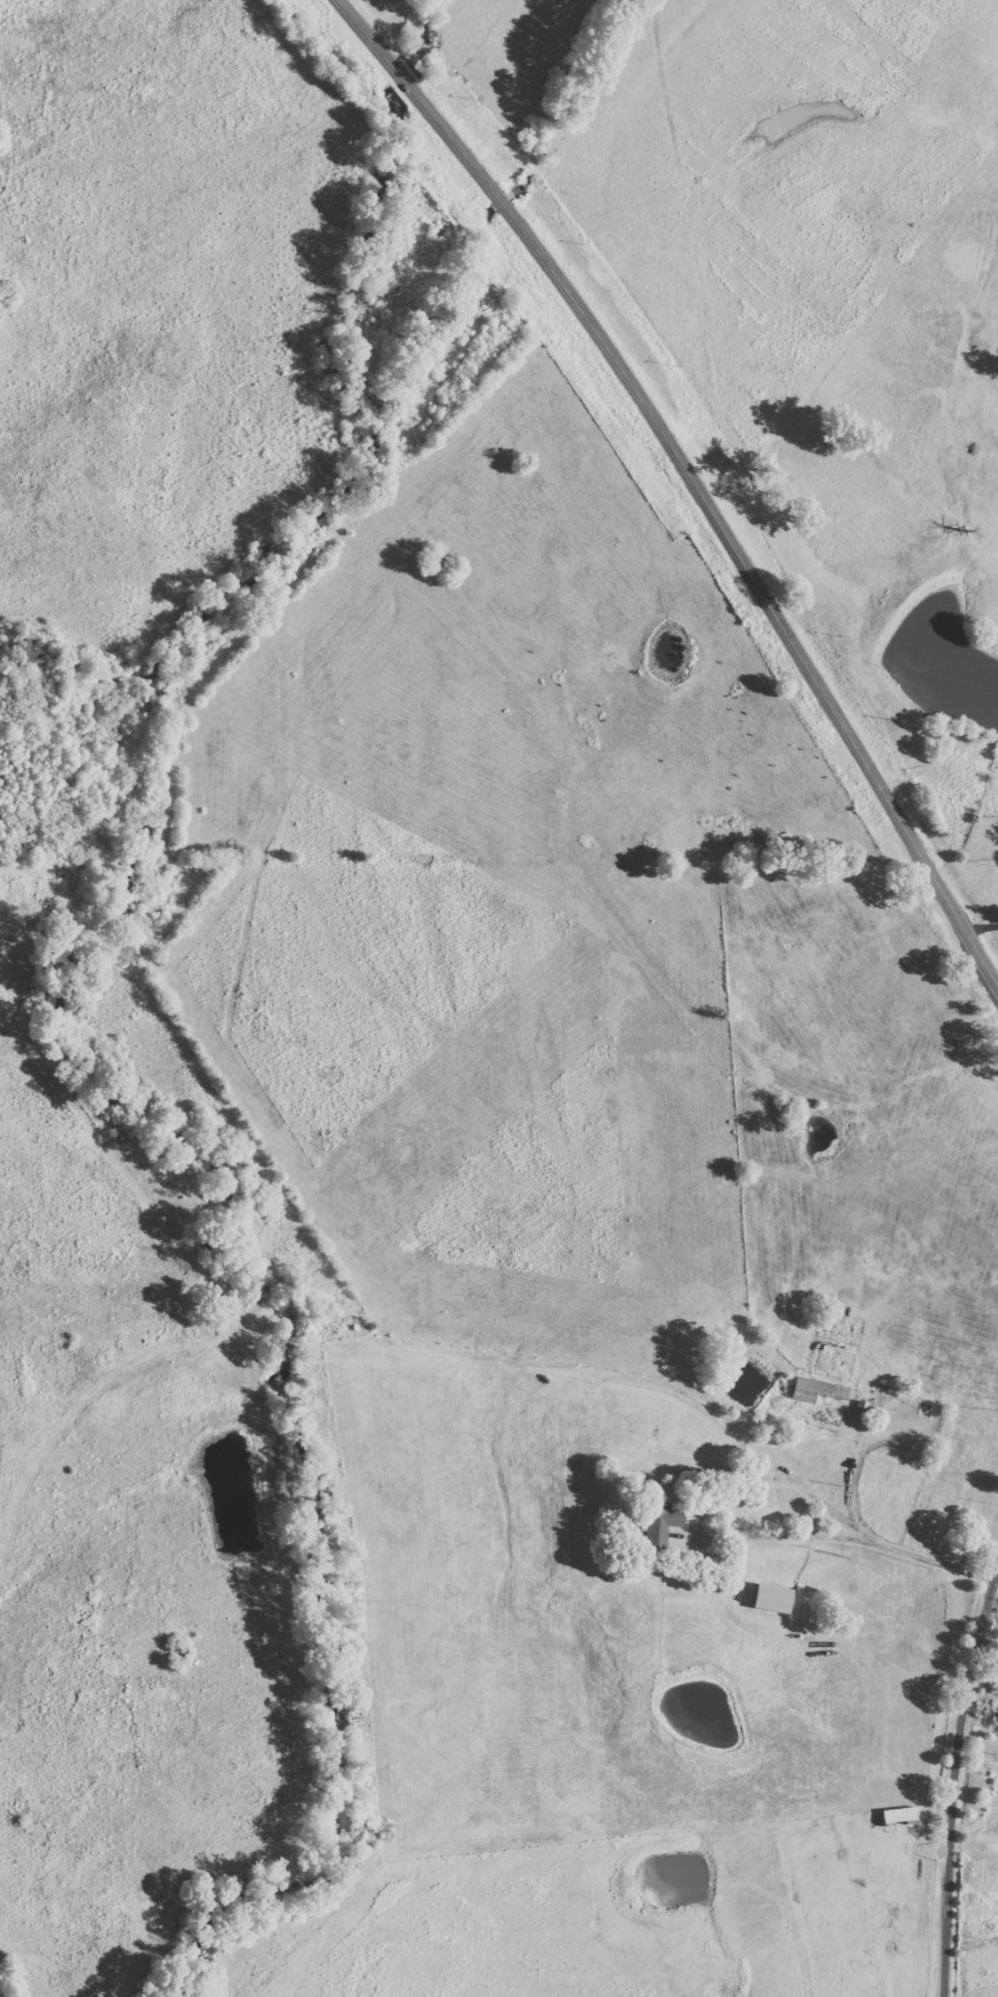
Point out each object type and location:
road: (690, 476)
building: (816, 1390)
road: (812, 1455)
building: (661, 1526)
road: (807, 1533)
road: (925, 1556)
road: (955, 1790)

